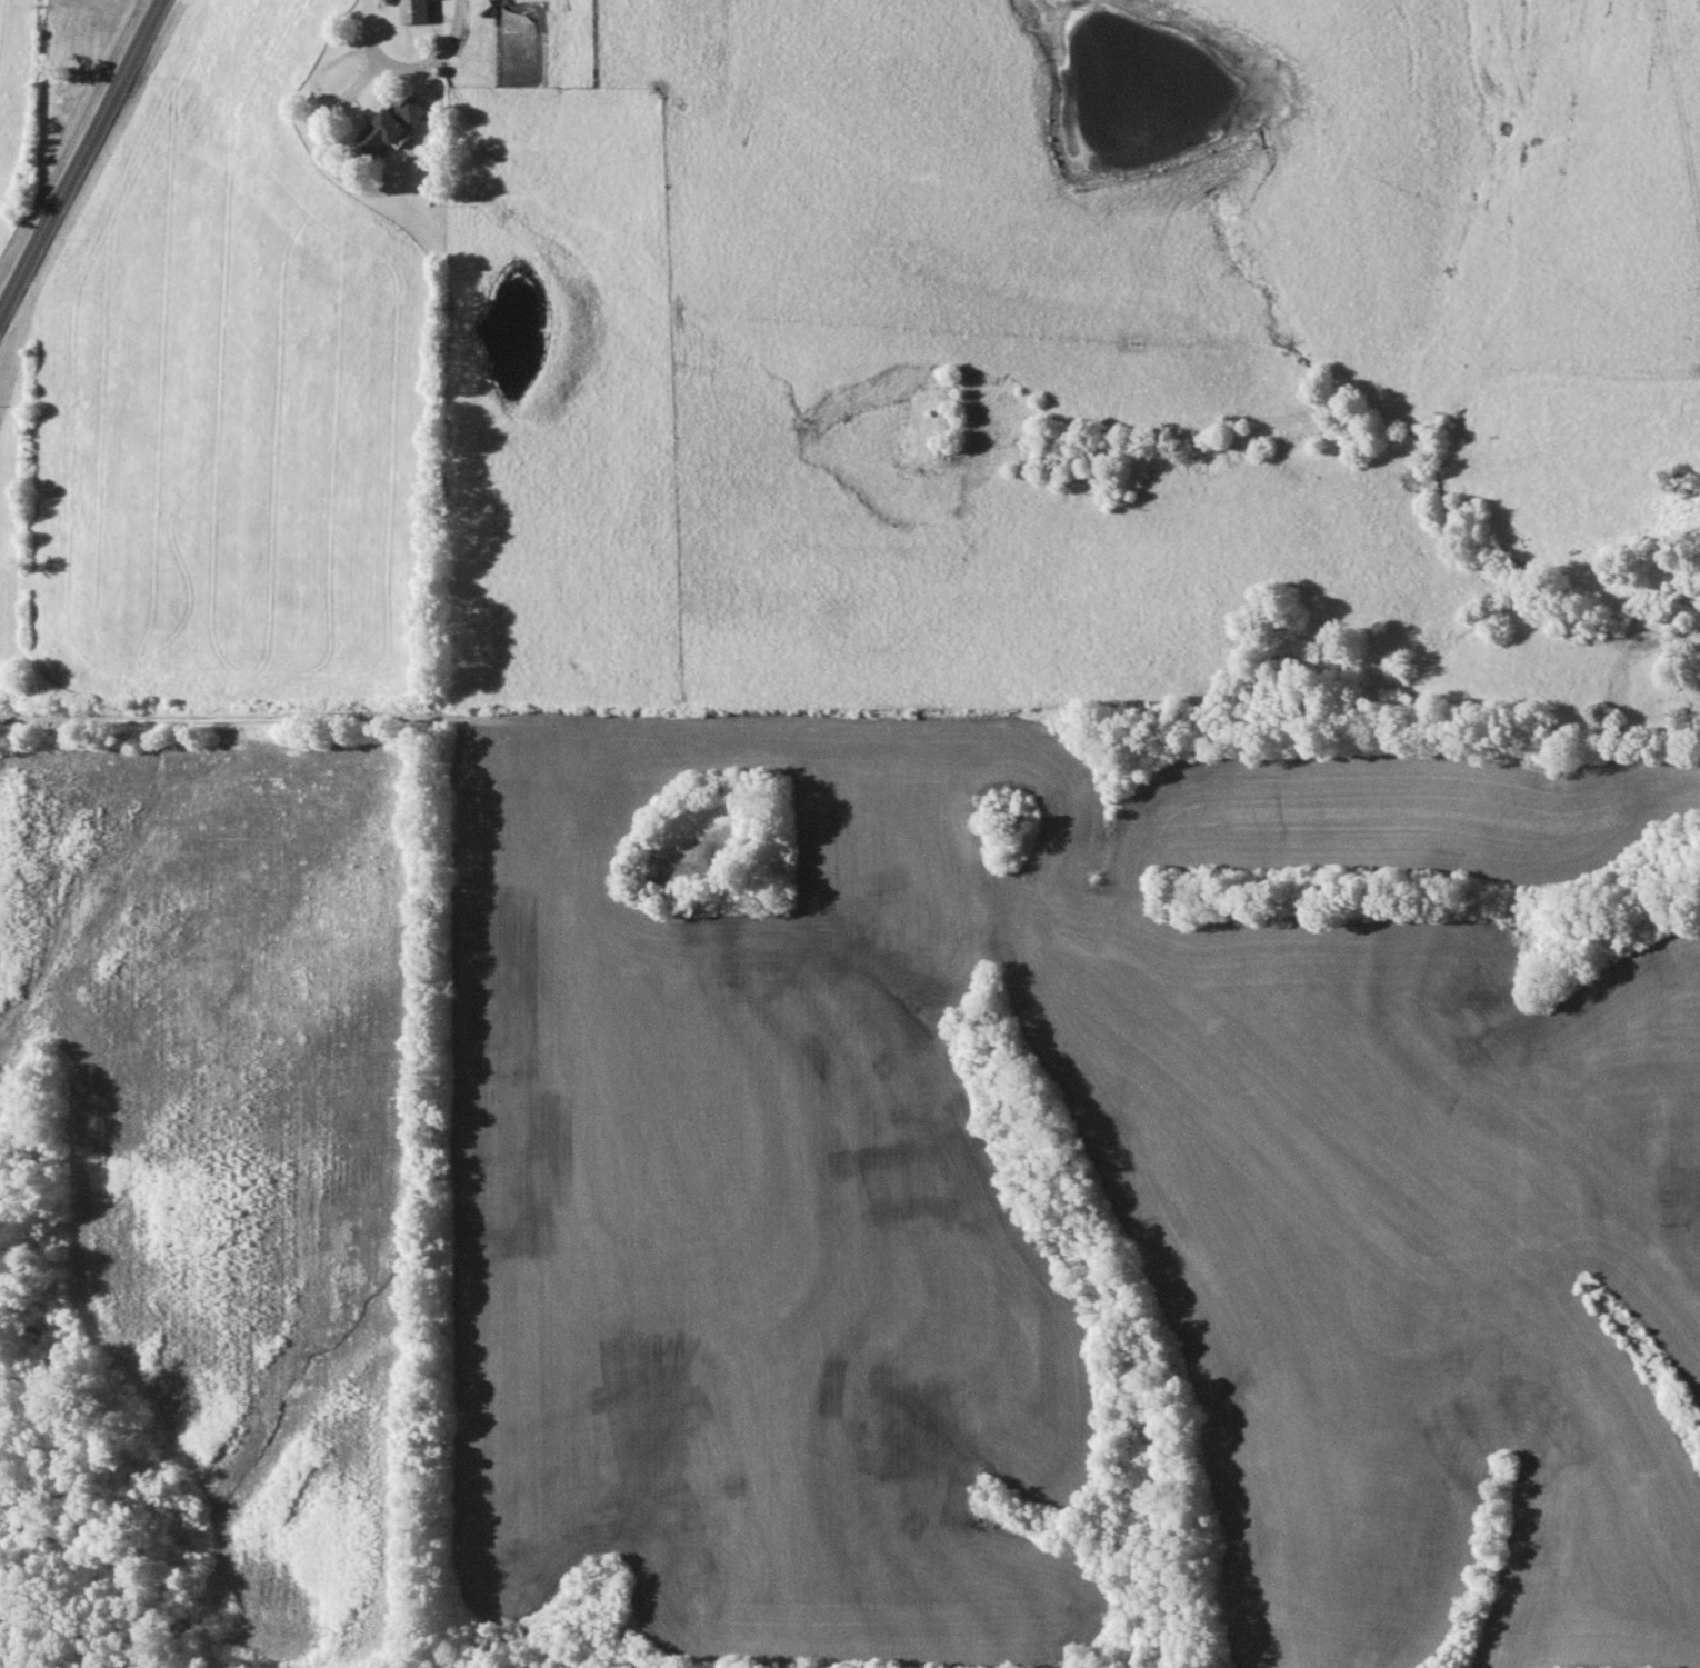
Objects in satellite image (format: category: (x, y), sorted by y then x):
building: (414, 11)
road: (410, 67)
building: (411, 110)
building: (382, 132)
road: (79, 164)

